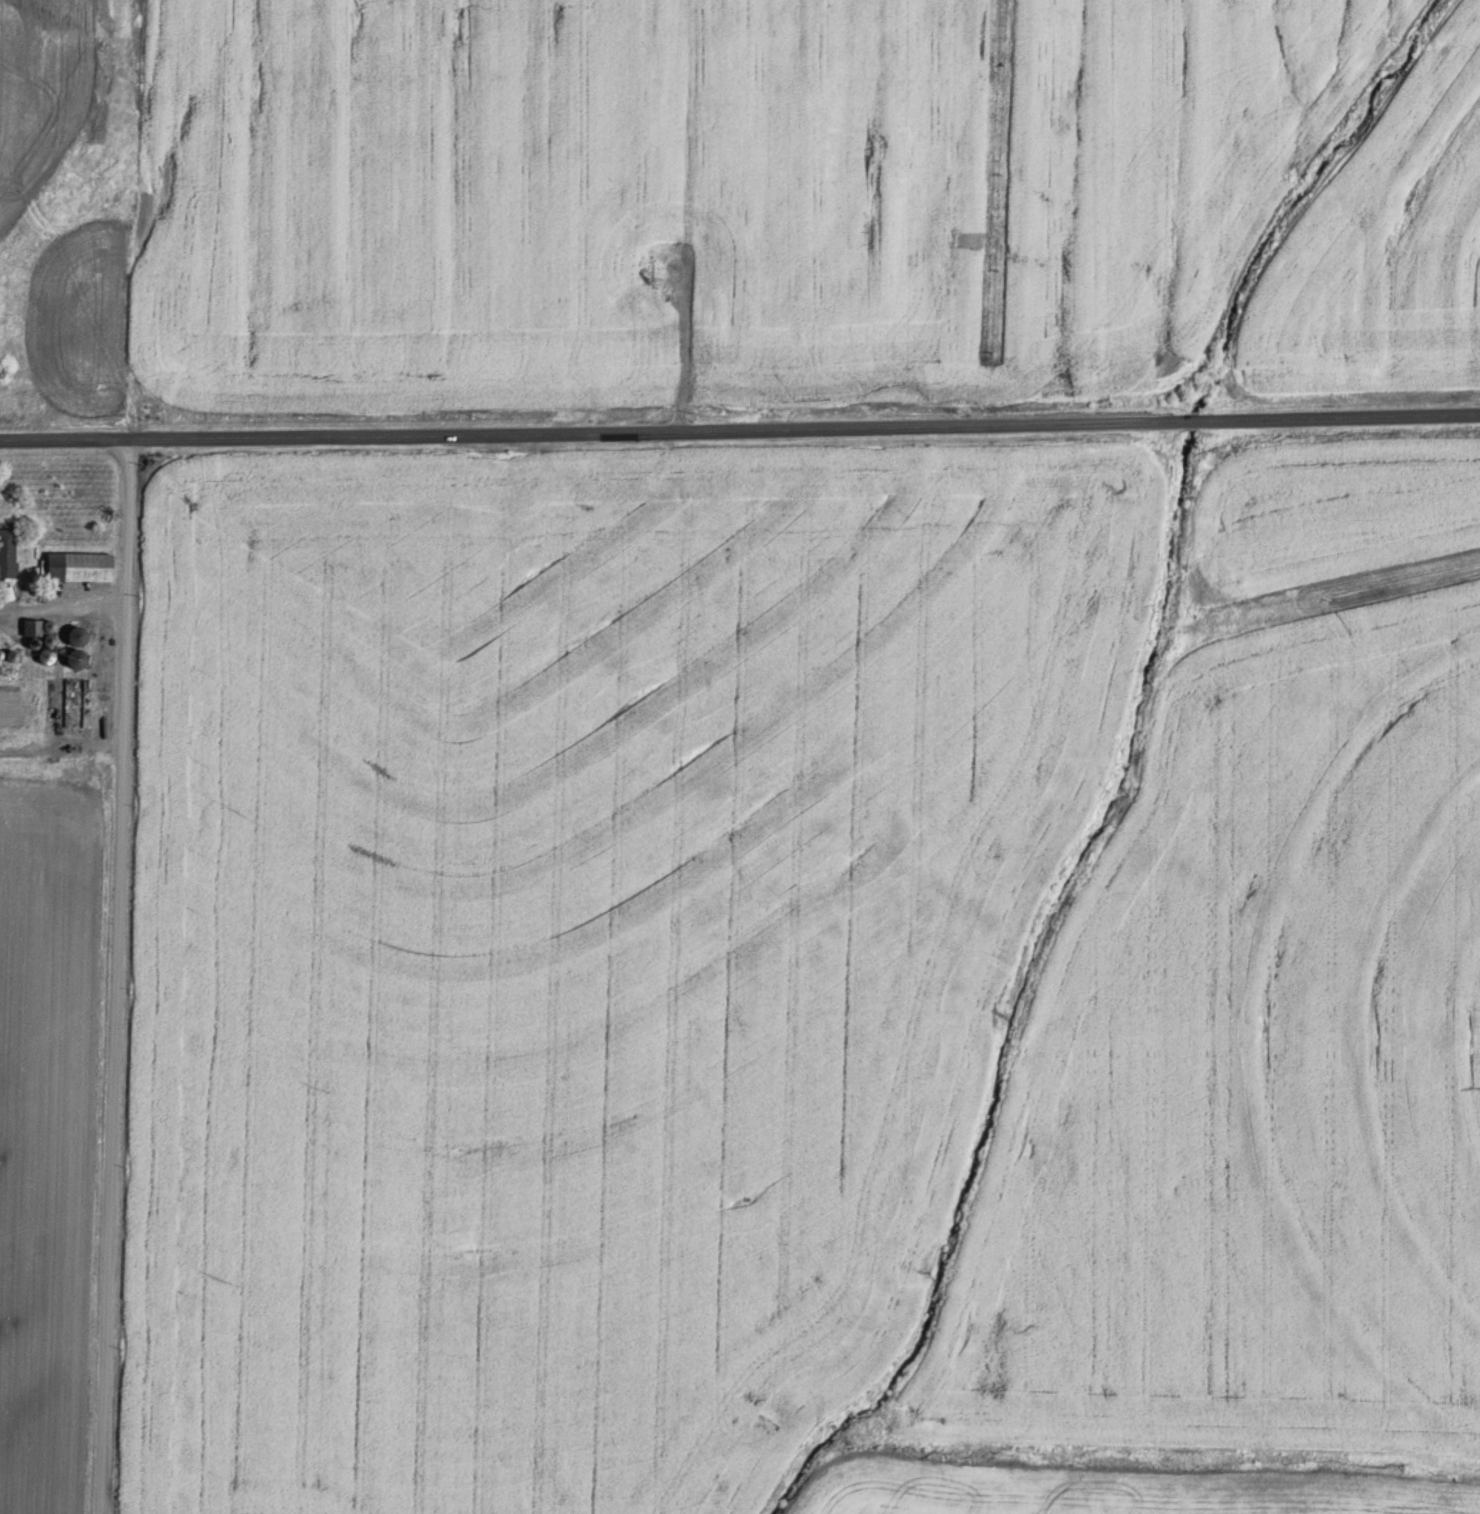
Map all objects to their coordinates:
road: (128, 220)
road: (685, 349)
road: (740, 430)
building: (8, 551)
building: (81, 566)
road: (62, 614)
building: (79, 647)
road: (61, 749)
road: (115, 977)

